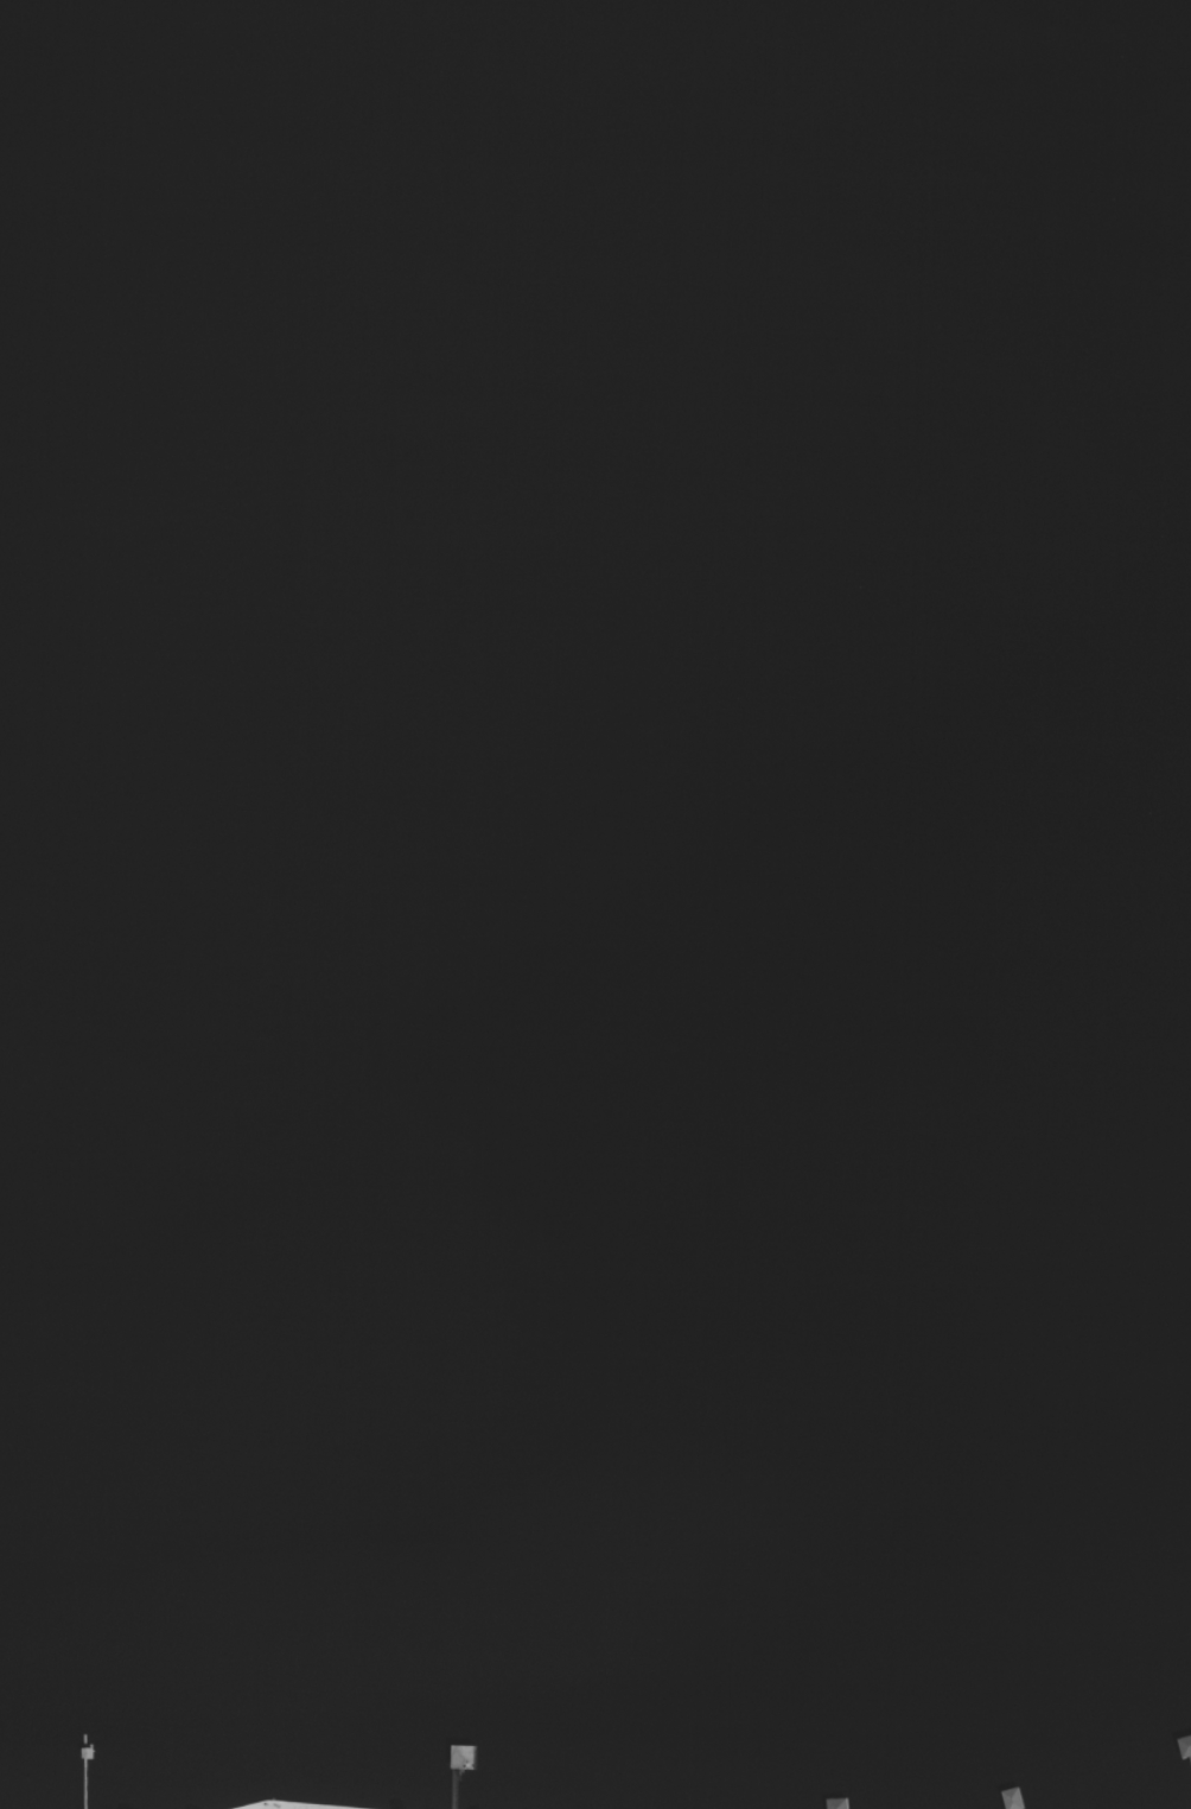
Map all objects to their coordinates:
building: (1186, 1746)
building: (466, 1758)
building: (1015, 1798)
building: (839, 1804)

